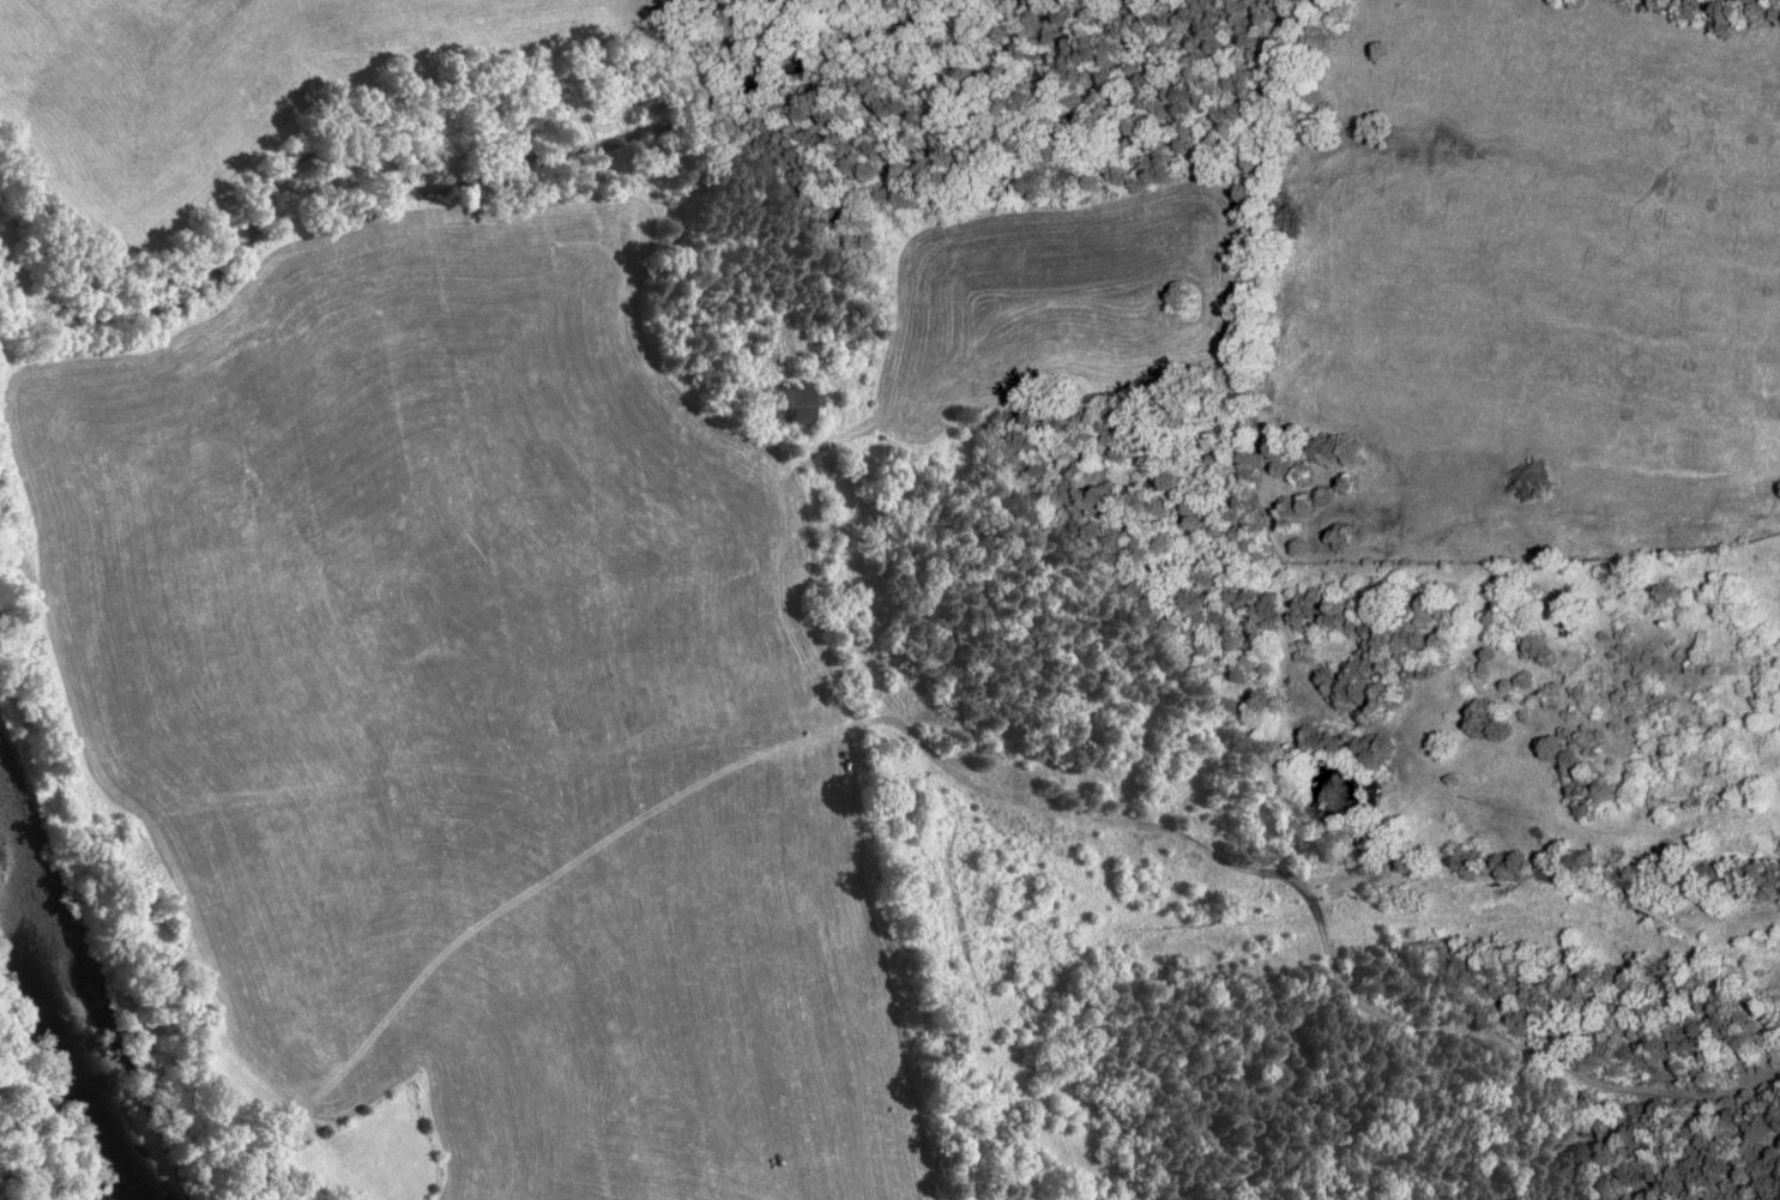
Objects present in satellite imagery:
road: (1220, 831)
river: (82, 1021)

